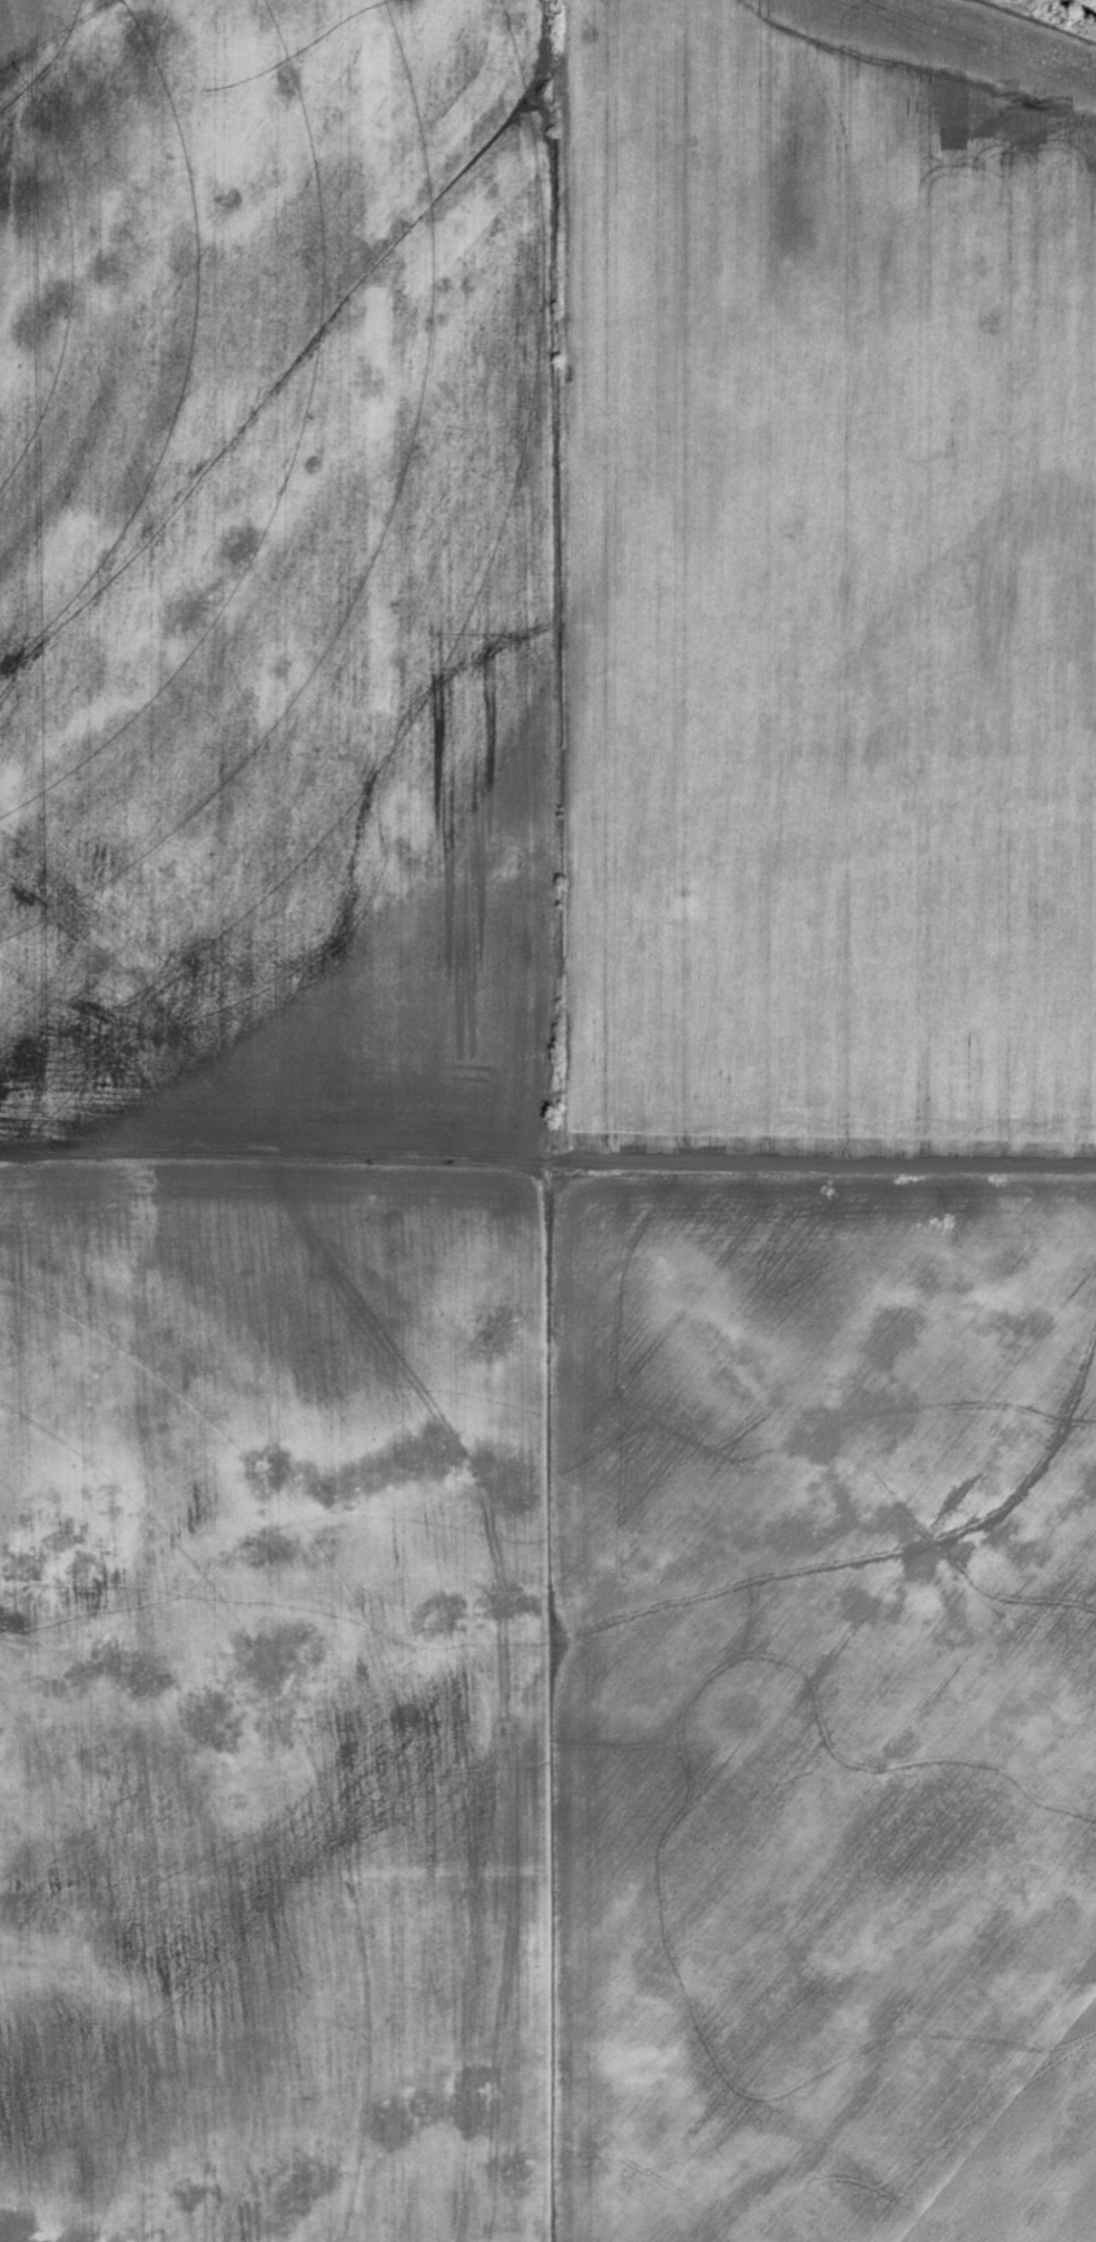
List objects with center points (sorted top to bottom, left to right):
road: (547, 1156)

